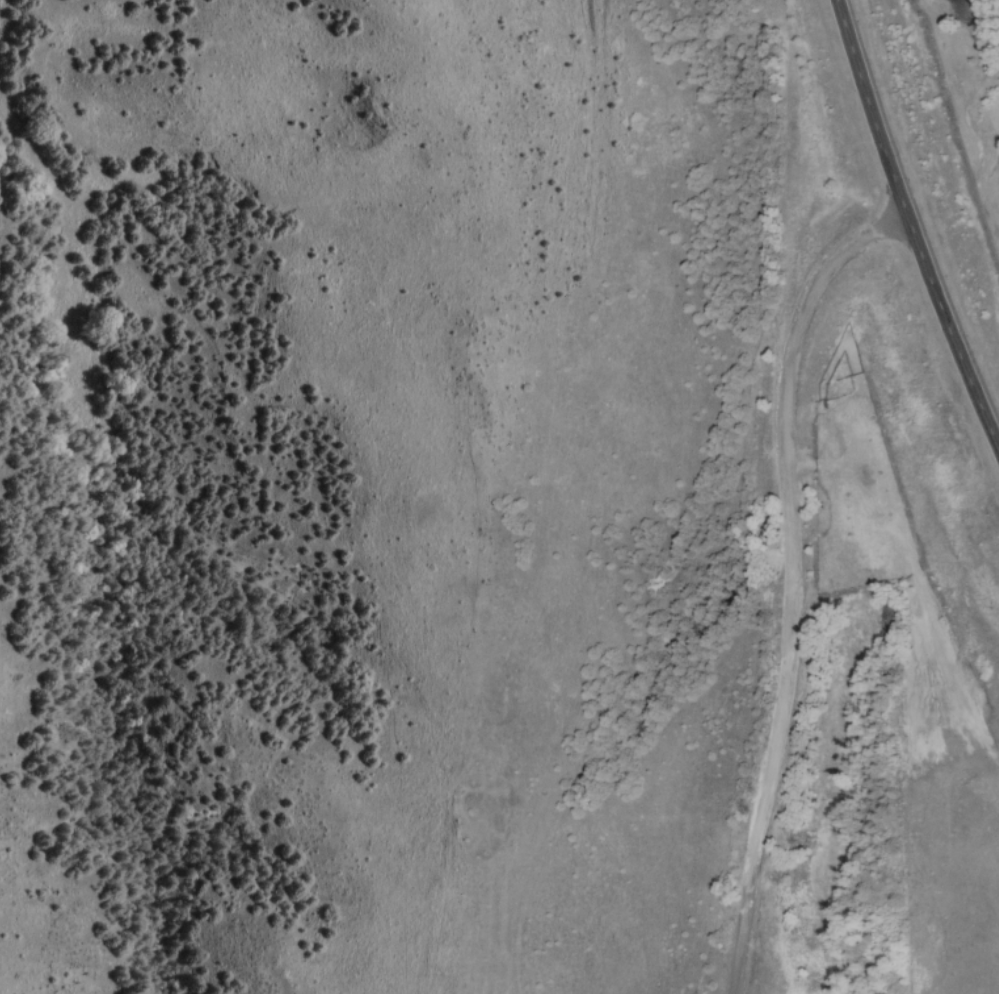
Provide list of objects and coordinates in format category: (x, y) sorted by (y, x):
road: (913, 227)
road: (791, 579)

